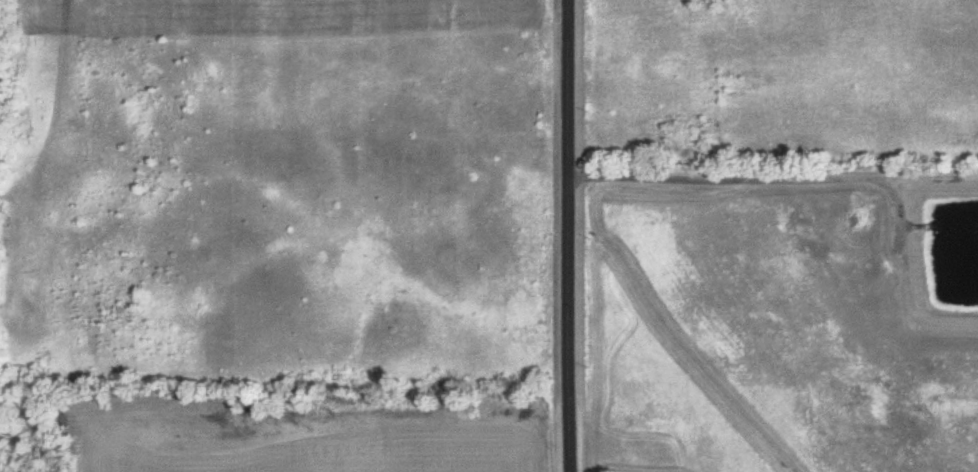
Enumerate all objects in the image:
road: (563, 236)
crop: (306, 438)

